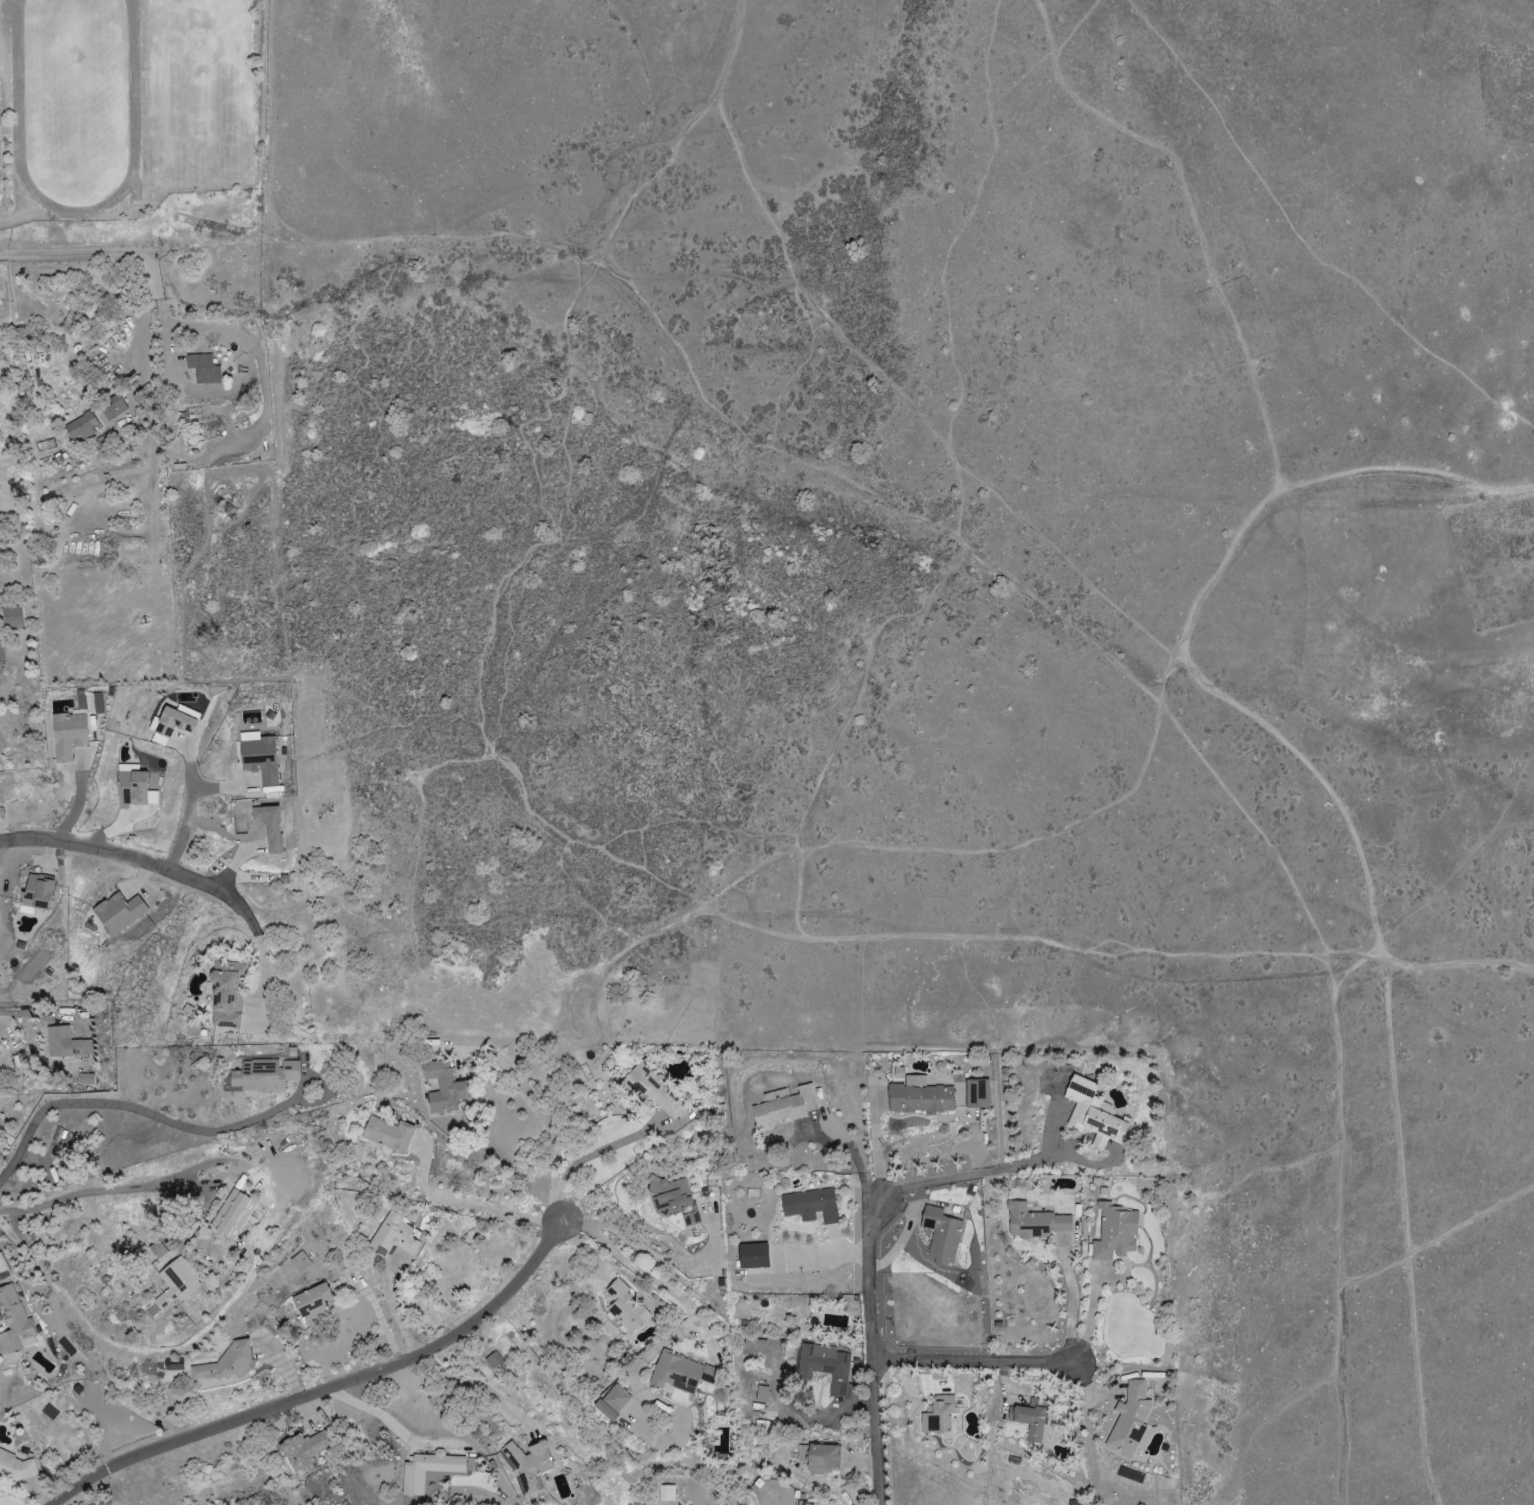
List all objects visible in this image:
road: (320, 250)
road: (70, 254)
road: (147, 317)
road: (166, 350)
building: (204, 369)
building: (114, 408)
building: (81, 427)
building: (12, 617)
building: (174, 723)
building: (68, 735)
building: (260, 759)
building: (133, 788)
road: (77, 799)
road: (201, 817)
road: (584, 852)
road: (135, 862)
building: (37, 893)
building: (119, 912)
road: (263, 972)
building: (226, 994)
road: (16, 1010)
building: (66, 1043)
building: (264, 1076)
building: (86, 1079)
building: (444, 1088)
building: (657, 1093)
building: (978, 1094)
building: (920, 1097)
road: (132, 1107)
building: (784, 1107)
road: (541, 1113)
building: (1093, 1114)
building: (389, 1134)
road: (604, 1149)
road: (965, 1174)
road: (93, 1191)
building: (670, 1196)
road: (468, 1204)
building: (811, 1206)
building: (233, 1215)
building: (1036, 1223)
road: (1341, 1230)
building: (1115, 1233)
building: (942, 1235)
building: (394, 1242)
building: (754, 1256)
road: (657, 1259)
building: (300, 1262)
building: (3, 1268)
road: (648, 1276)
building: (174, 1287)
building: (312, 1303)
road: (1072, 1306)
building: (626, 1308)
building: (14, 1323)
road: (882, 1354)
building: (494, 1362)
building: (227, 1363)
road: (979, 1364)
building: (824, 1366)
building: (680, 1373)
road: (317, 1384)
road: (476, 1384)
building: (762, 1394)
building: (616, 1398)
building: (606, 1411)
road: (400, 1416)
building: (938, 1416)
building: (1031, 1419)
building: (1130, 1420)
building: (305, 1451)
building: (820, 1458)
building: (529, 1465)
building: (15, 1466)
building: (429, 1471)
building: (667, 1493)
building: (1074, 1502)

